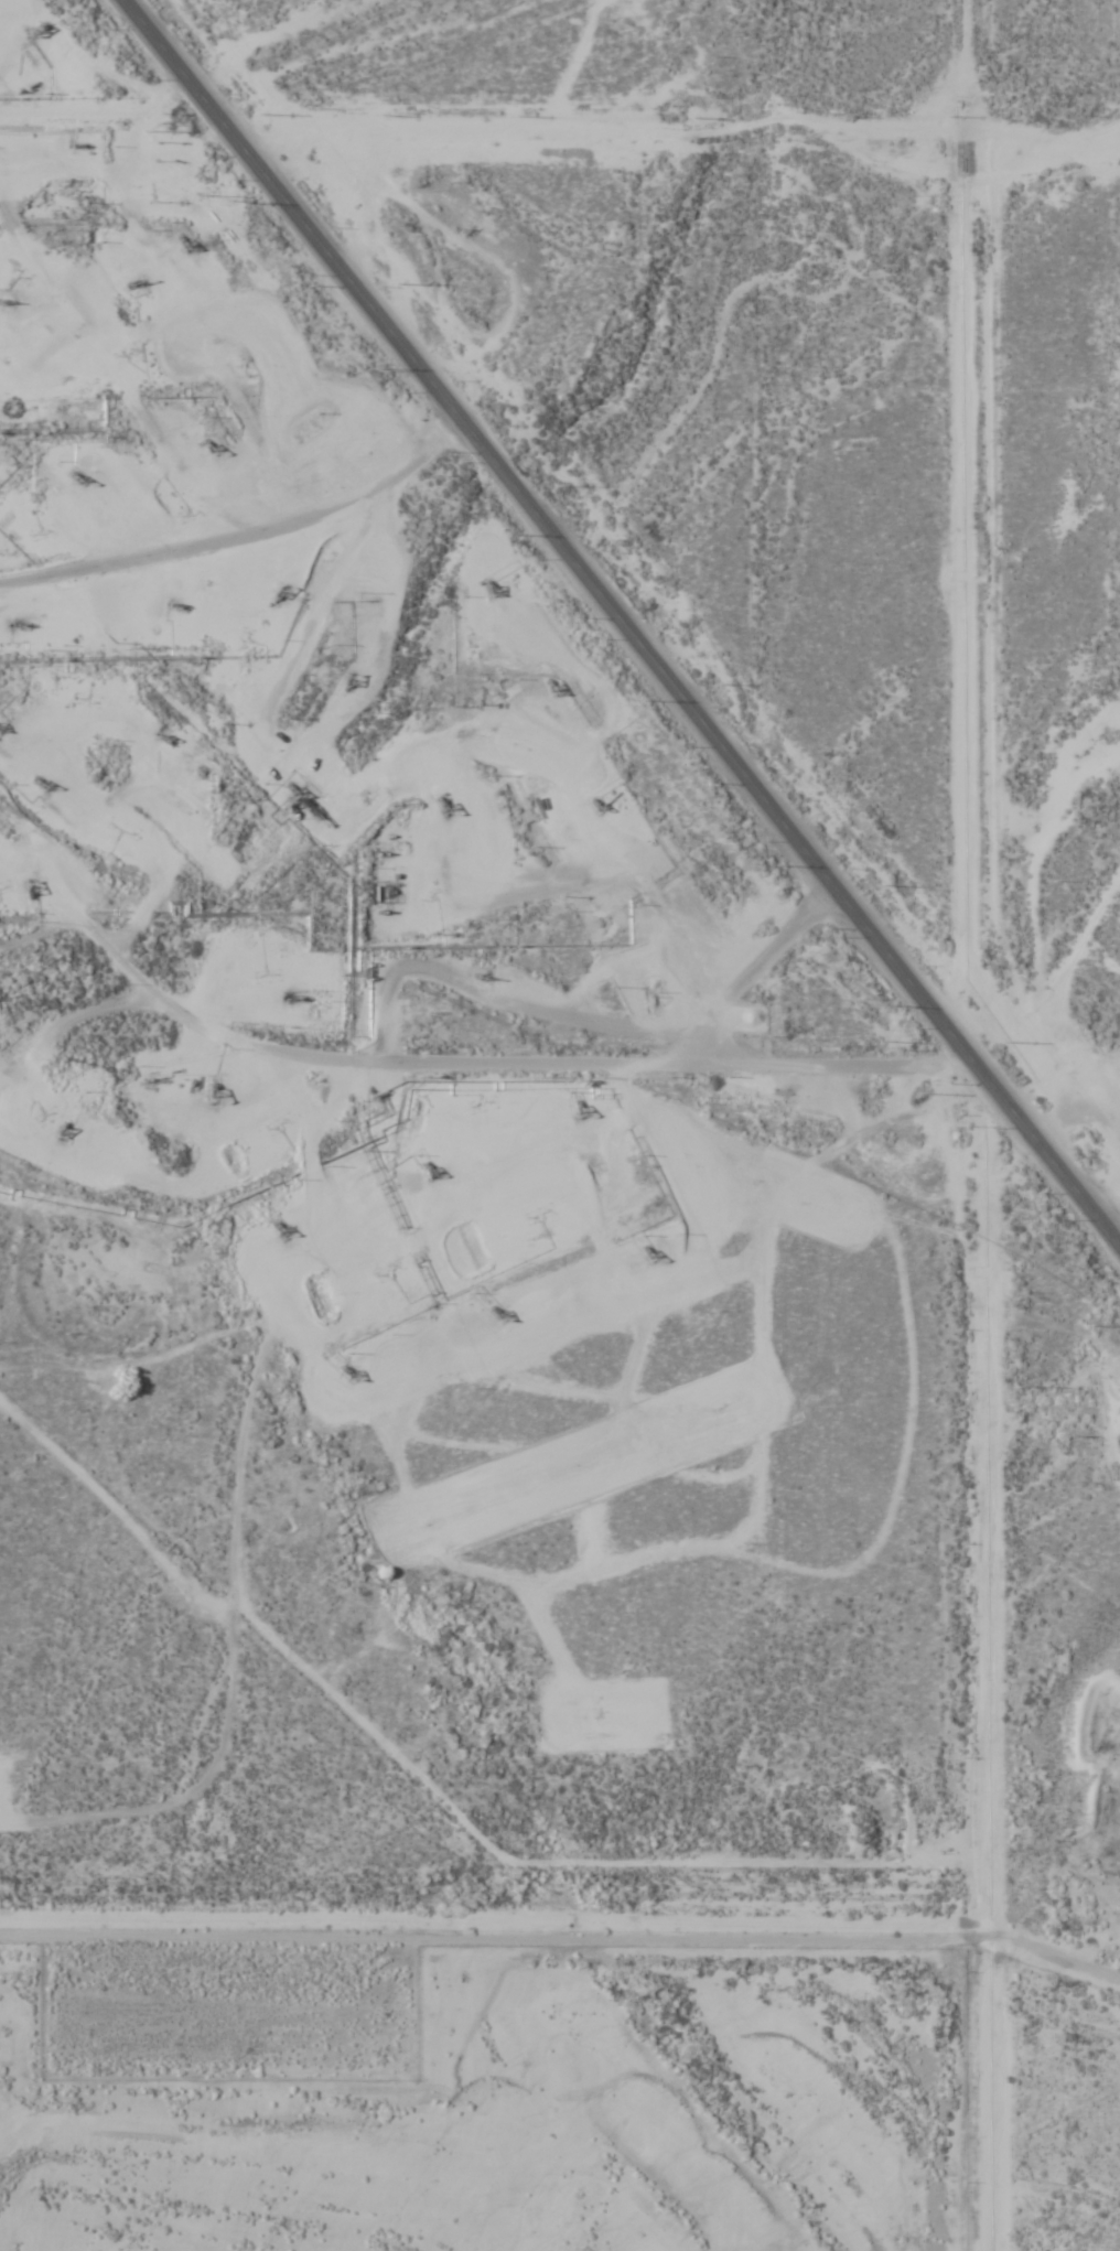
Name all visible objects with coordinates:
road: (243, 540)
road: (618, 625)
building: (174, 909)
road: (553, 1063)
road: (967, 1125)
road: (528, 1263)
road: (248, 1410)
road: (545, 1823)
road: (491, 1916)
road: (1057, 2178)

